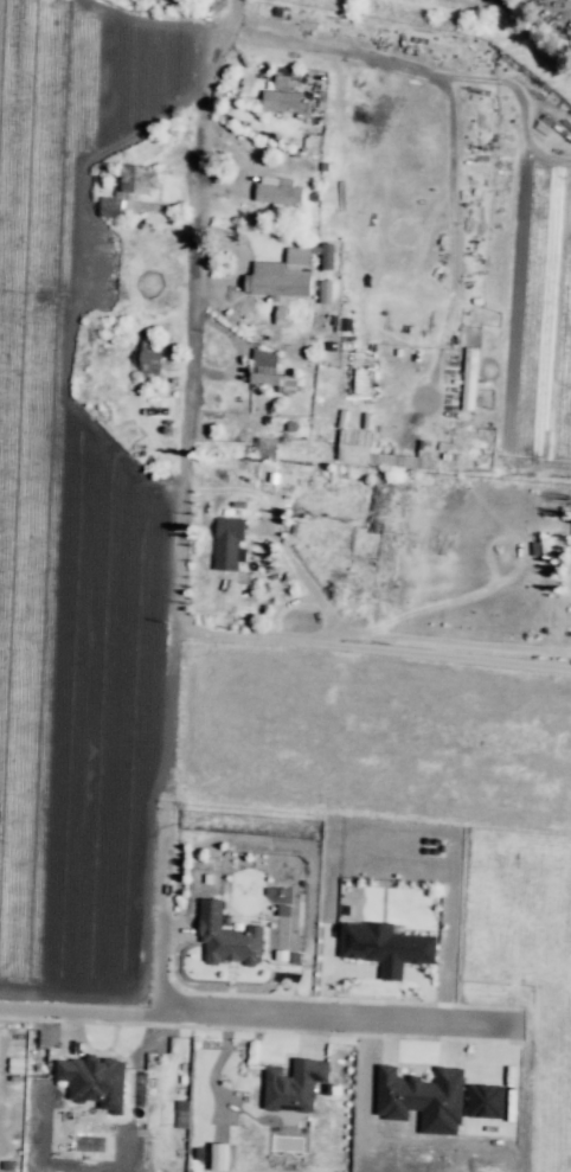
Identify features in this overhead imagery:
building: (280, 82)
building: (281, 100)
building: (131, 178)
building: (150, 185)
building: (278, 191)
building: (110, 210)
building: (327, 254)
road: (453, 254)
building: (297, 258)
building: (294, 288)
building: (323, 292)
building: (122, 352)
building: (289, 353)
building: (314, 354)
building: (263, 358)
building: (150, 365)
building: (469, 378)
building: (275, 383)
building: (173, 385)
building: (265, 447)
building: (450, 456)
building: (380, 457)
road: (178, 510)
crop: (75, 532)
road: (275, 533)
building: (230, 545)
building: (277, 894)
road: (161, 907)
building: (227, 941)
building: (385, 946)
road: (259, 1016)
building: (96, 1083)
building: (293, 1085)
building: (423, 1099)
building: (485, 1101)
building: (181, 1114)
building: (218, 1155)

